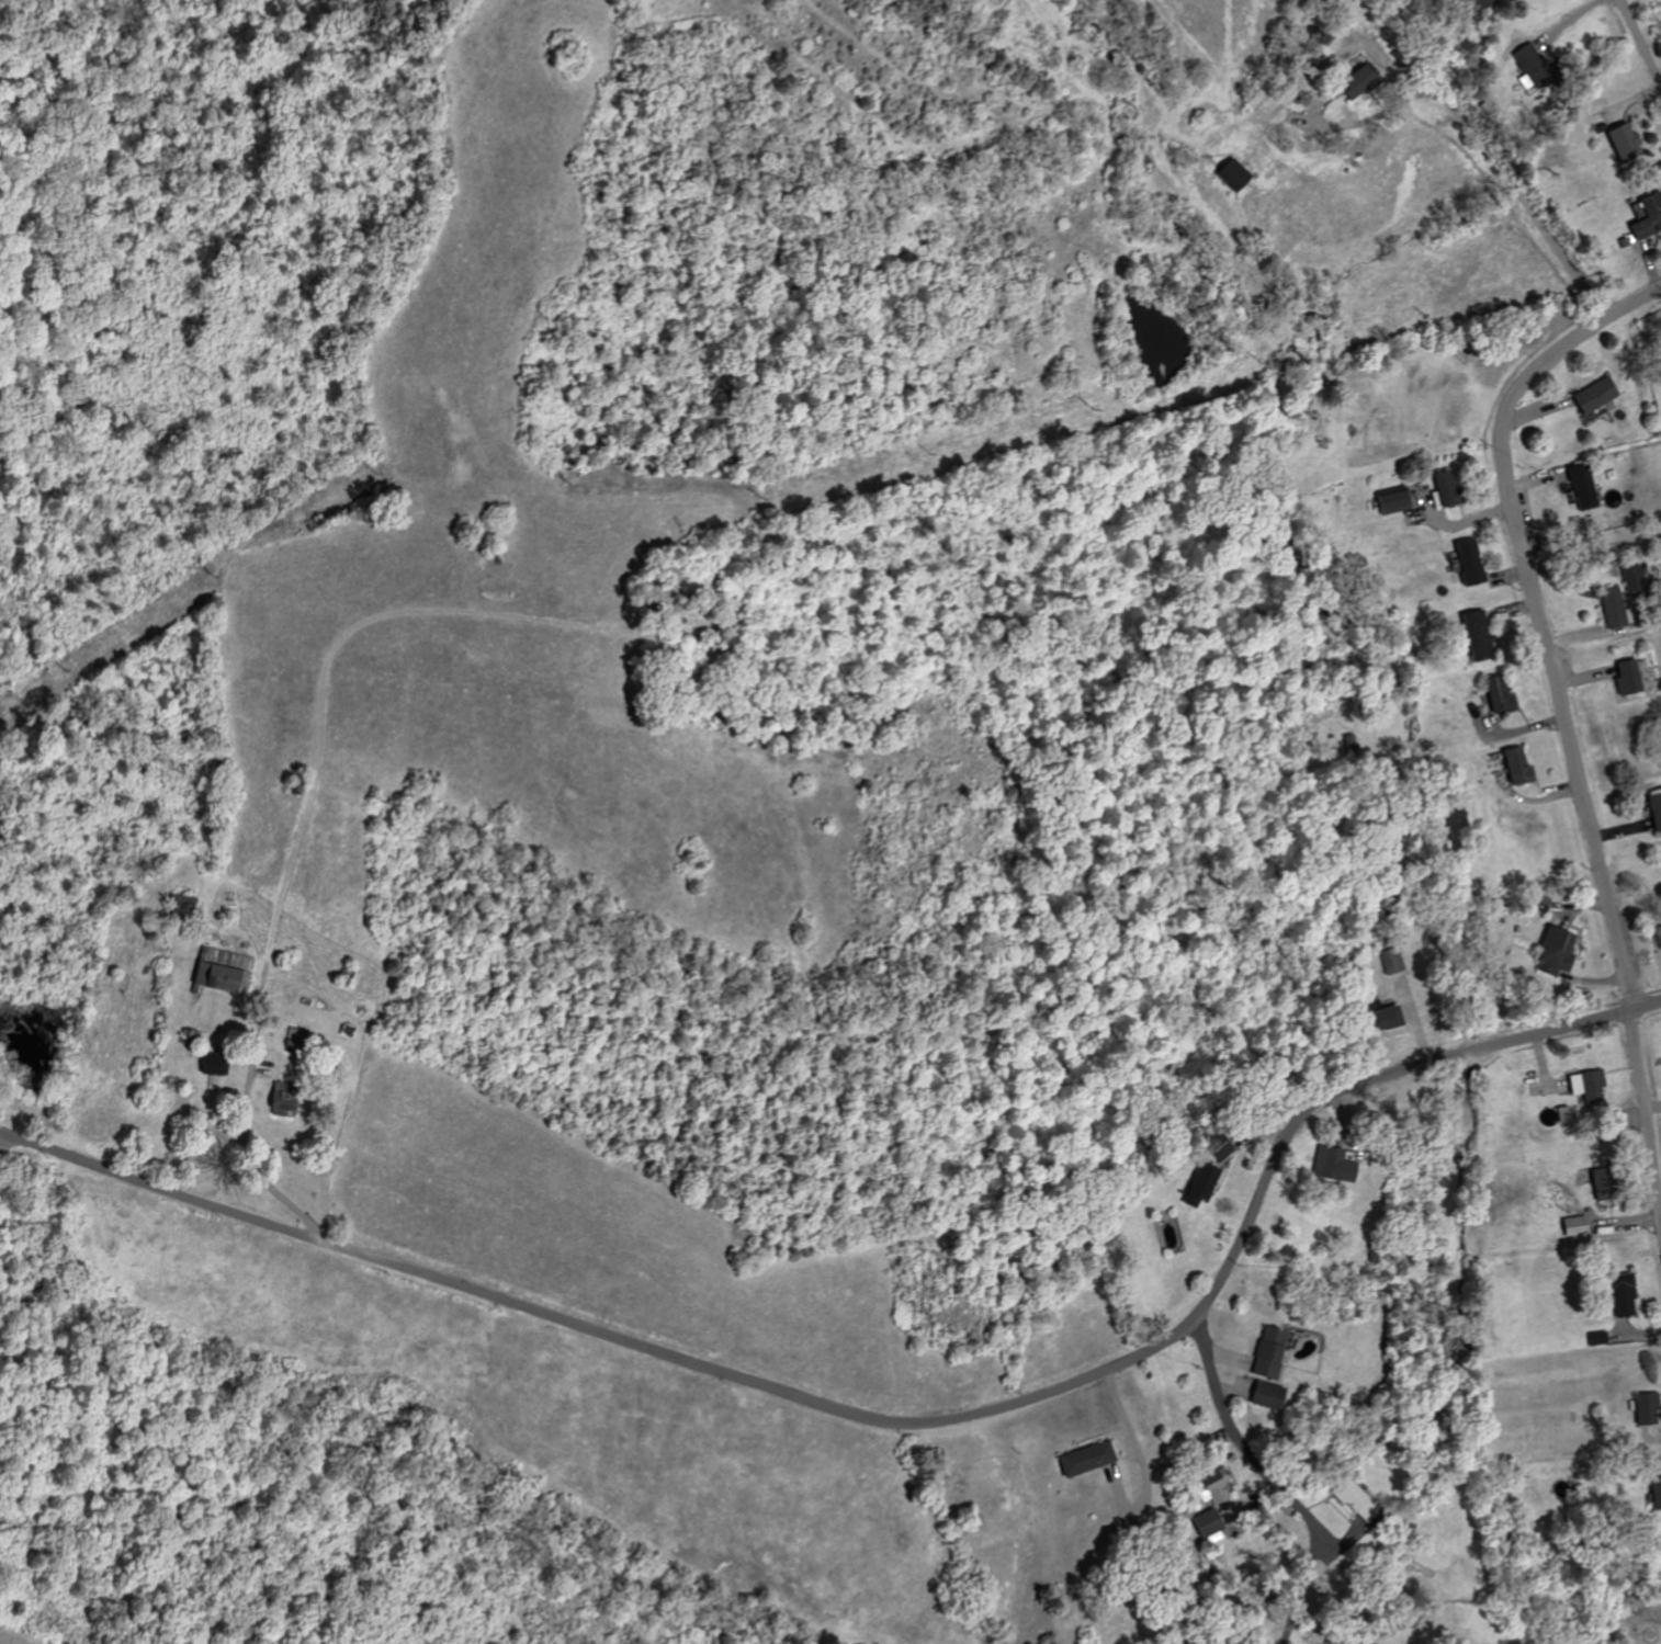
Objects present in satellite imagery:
building: (1469, 3)
road: (1640, 43)
building: (1523, 53)
building: (1353, 80)
building: (1620, 139)
road: (1487, 149)
building: (1229, 173)
building: (1646, 216)
building: (1591, 395)
building: (1580, 488)
building: (1389, 501)
road: (1592, 547)
building: (1465, 562)
building: (1631, 577)
building: (1611, 606)
road: (1536, 613)
building: (1472, 636)
building: (1625, 679)
building: (1495, 695)
building: (1513, 766)
building: (1653, 810)
building: (1656, 938)
building: (1551, 951)
building: (227, 970)
building: (1381, 1019)
building: (218, 1065)
building: (1589, 1087)
building: (289, 1099)
road: (1646, 1123)
building: (1337, 1164)
road: (255, 1168)
road: (205, 1172)
building: (1208, 1182)
building: (1620, 1295)
building: (1596, 1338)
building: (1275, 1352)
building: (1273, 1395)
building: (1643, 1408)
road: (891, 1424)
road: (1142, 1458)
building: (1091, 1459)
road: (1269, 1482)
building: (1654, 1495)
building: (1361, 1501)

